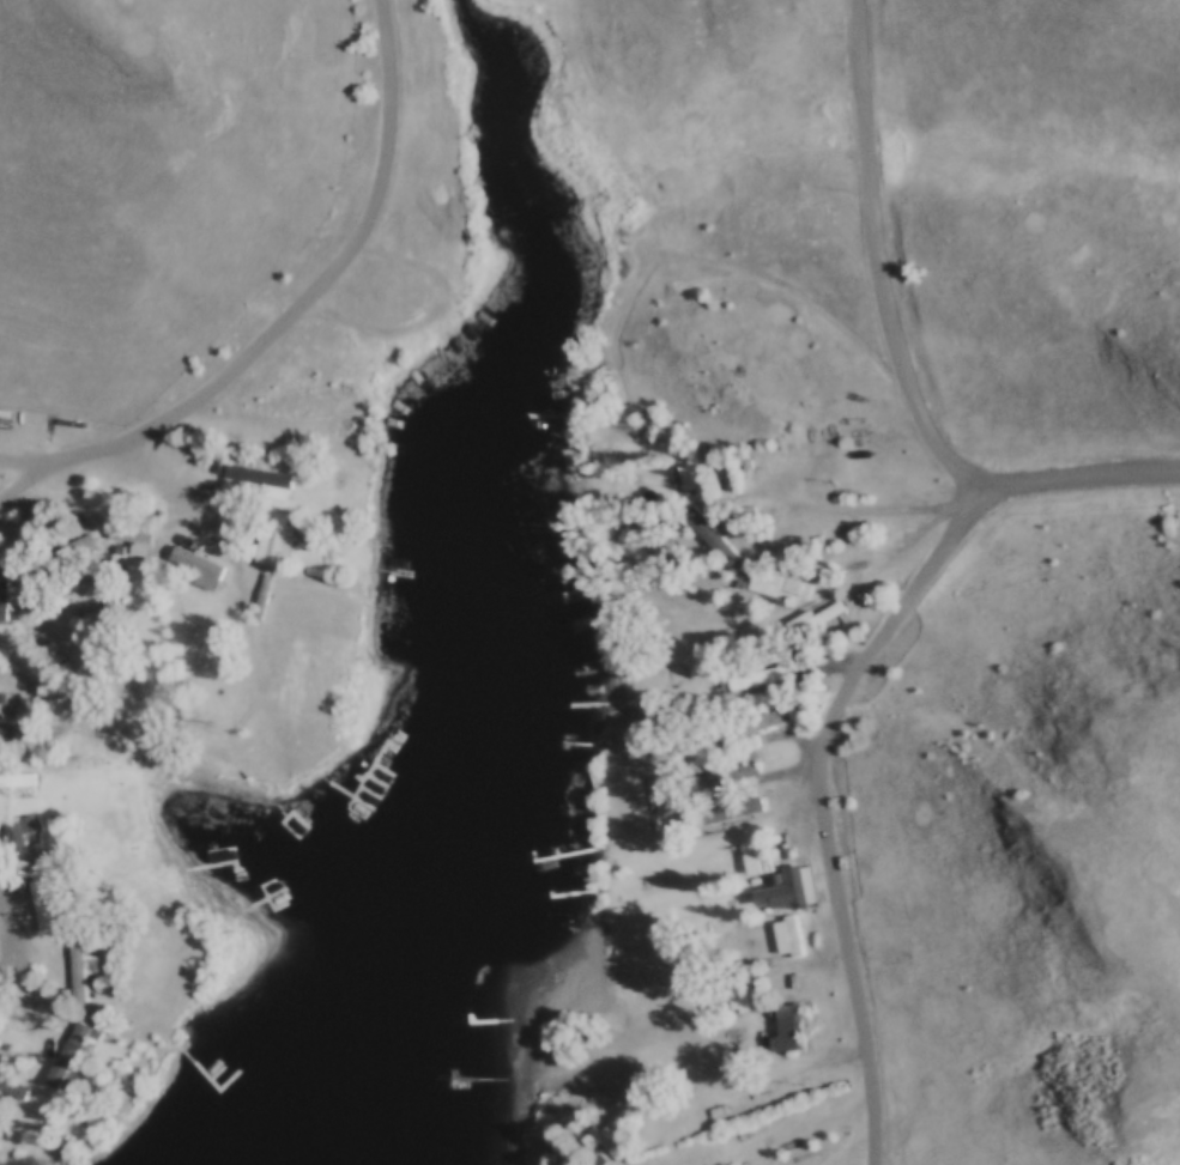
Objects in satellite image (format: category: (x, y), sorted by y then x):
road: (731, 272)
road: (298, 314)
road: (419, 314)
road: (906, 356)
building: (265, 477)
building: (691, 477)
road: (23, 485)
building: (170, 503)
road: (881, 510)
building: (720, 534)
building: (135, 535)
building: (284, 539)
building: (77, 550)
building: (202, 566)
building: (779, 584)
building: (7, 593)
building: (822, 617)
road: (116, 643)
building: (757, 676)
building: (763, 718)
building: (730, 775)
building: (20, 782)
road: (823, 806)
building: (726, 812)
building: (24, 841)
building: (756, 851)
building: (800, 884)
building: (48, 902)
road: (16, 934)
building: (788, 935)
building: (86, 971)
building: (746, 990)
building: (789, 1027)
building: (72, 1061)
building: (609, 1141)

